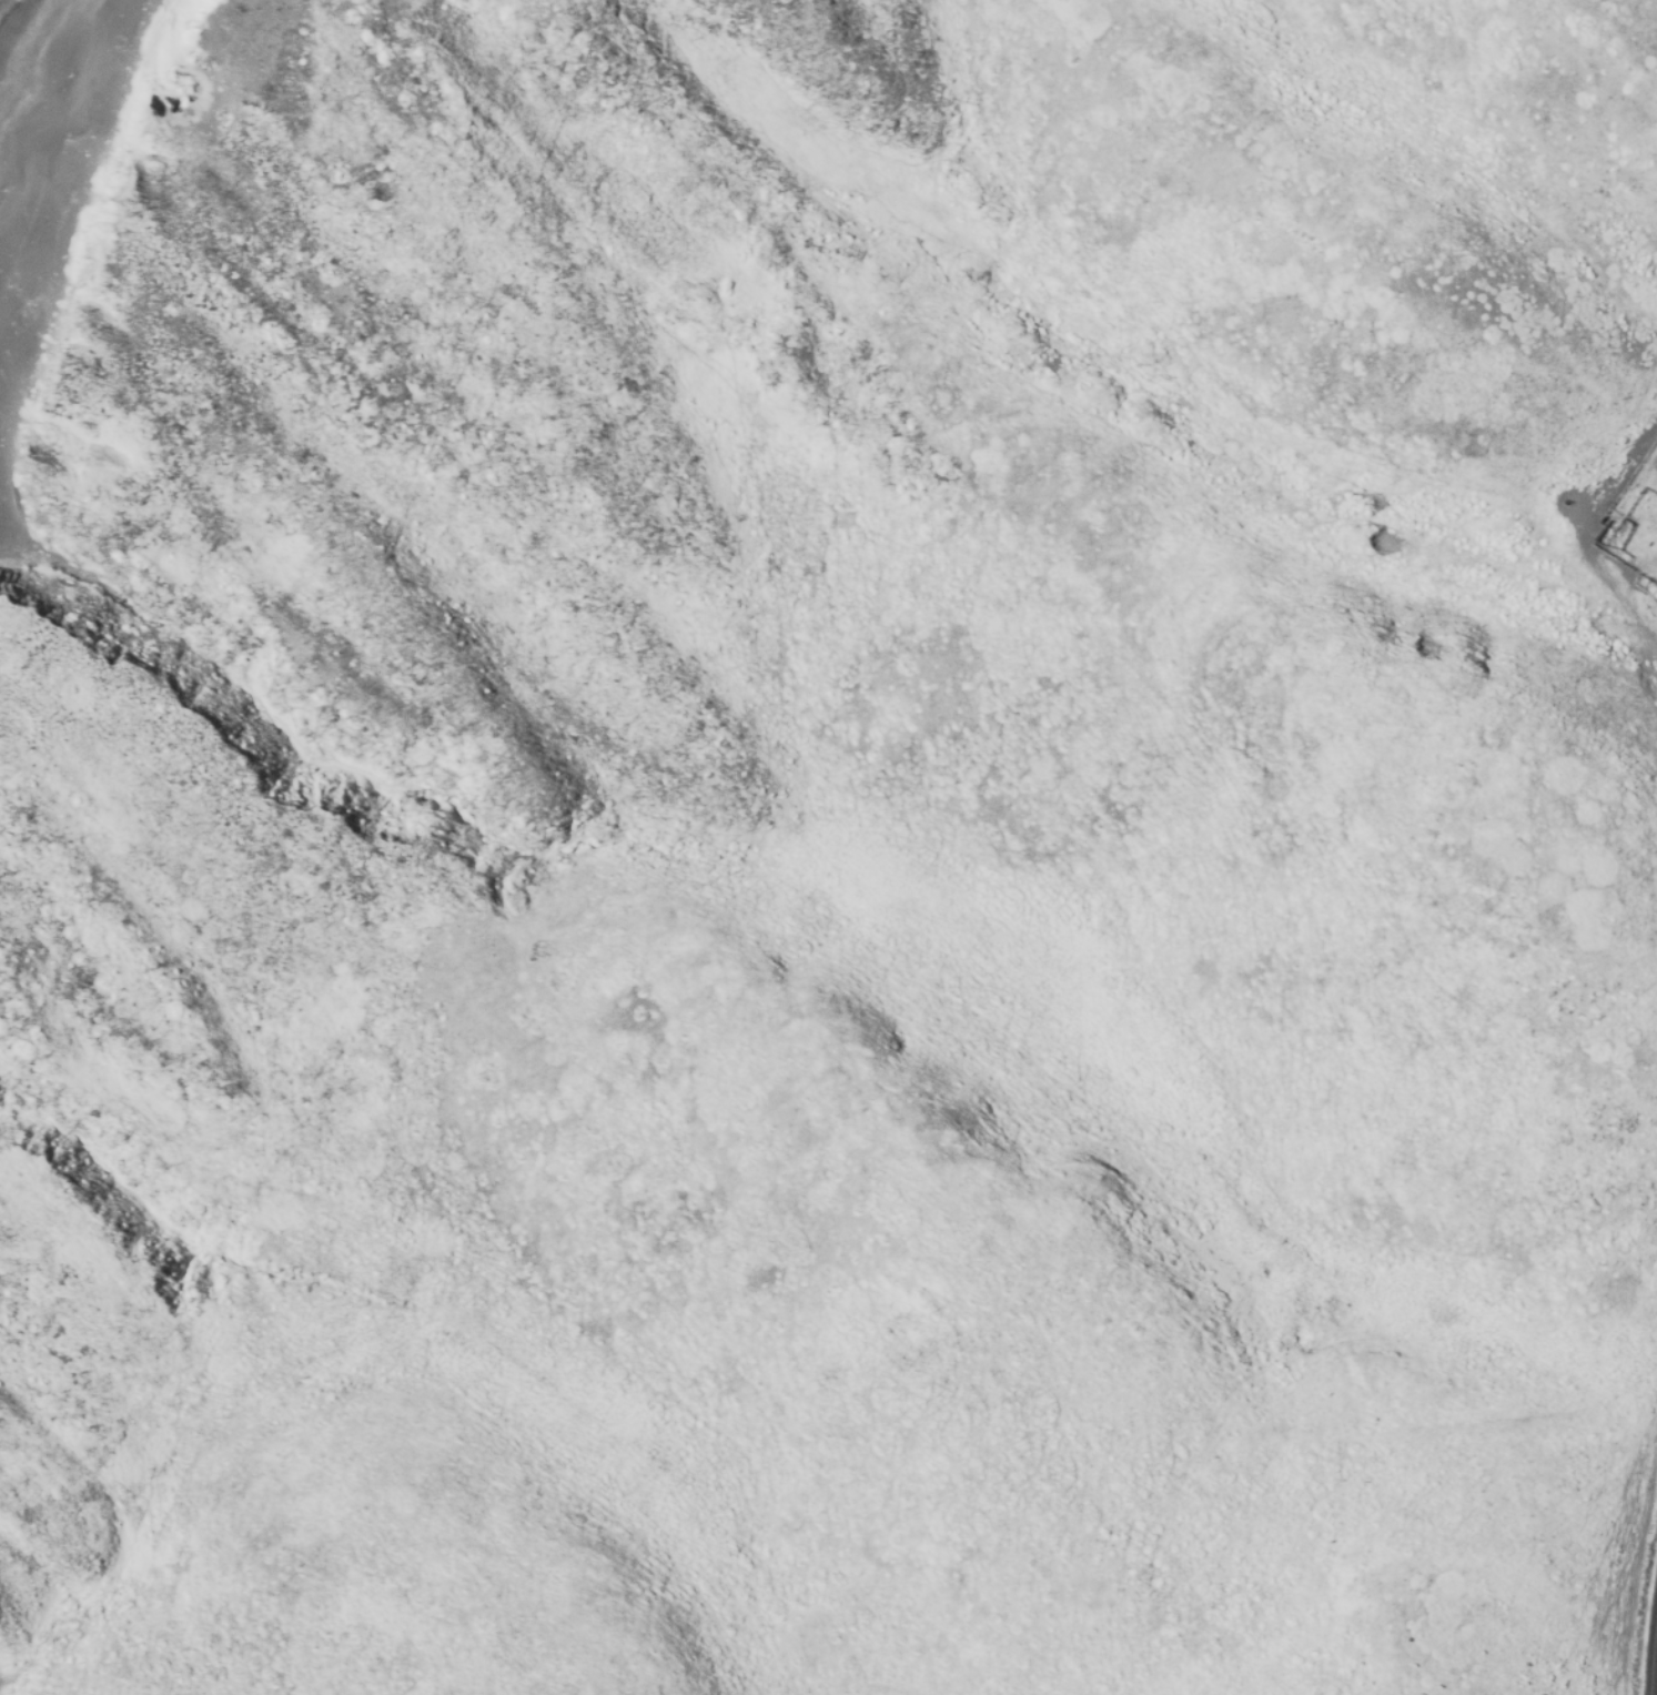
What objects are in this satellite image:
road: (1653, 1652)

